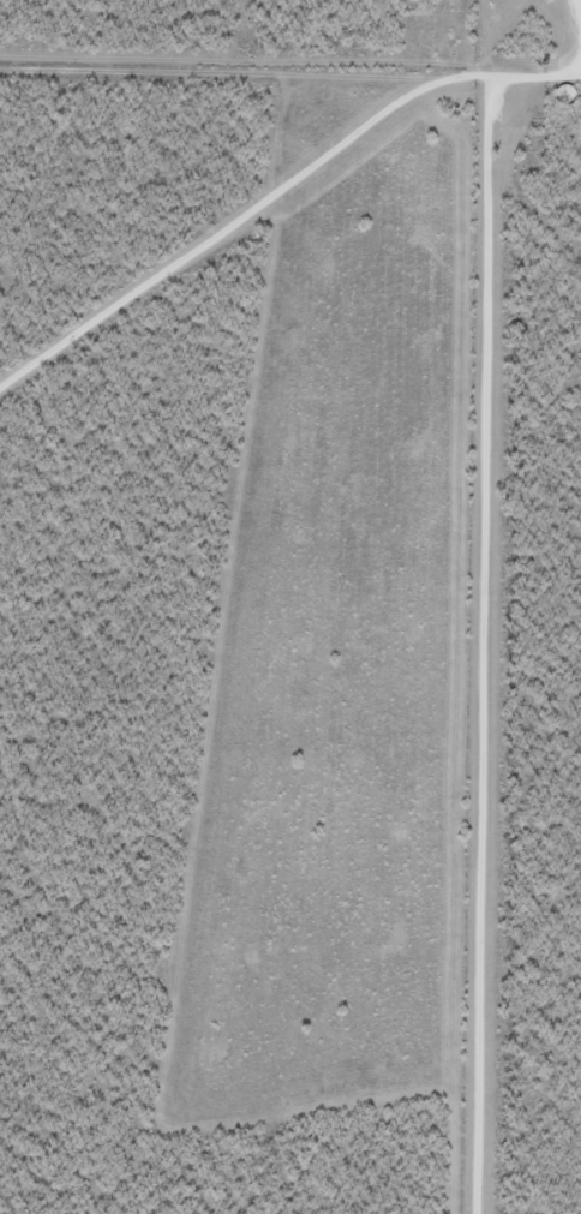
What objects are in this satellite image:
road: (579, 8)
road: (276, 191)

